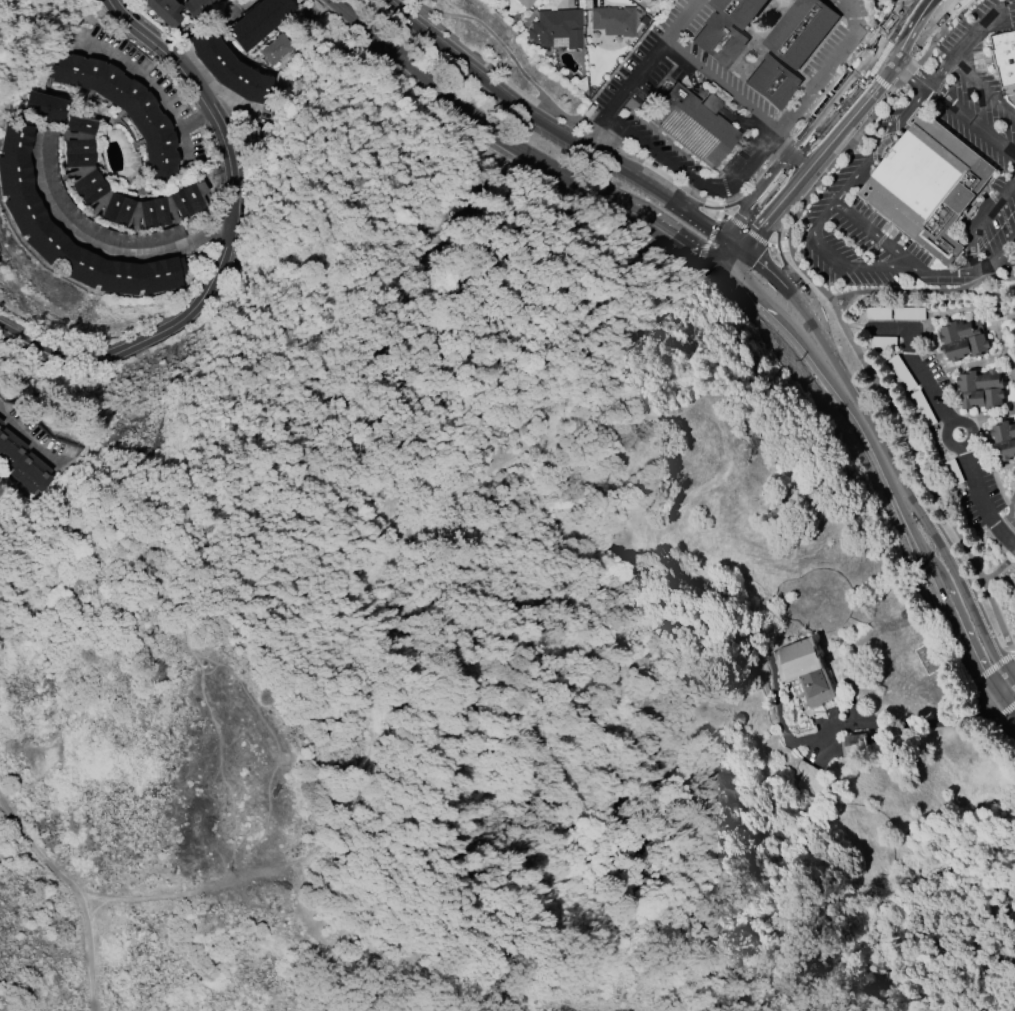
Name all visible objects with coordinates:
building: (636, 0)
building: (524, 4)
road: (316, 5)
building: (195, 6)
road: (845, 7)
road: (456, 8)
road: (940, 8)
building: (740, 10)
building: (169, 14)
road: (889, 19)
building: (612, 21)
building: (257, 22)
building: (556, 29)
building: (800, 32)
road: (862, 33)
road: (975, 36)
road: (908, 37)
road: (172, 41)
building: (720, 43)
building: (275, 49)
building: (1005, 59)
building: (229, 69)
road: (639, 72)
road: (938, 74)
road: (149, 82)
road: (819, 83)
building: (771, 84)
road: (493, 86)
road: (721, 86)
road: (982, 86)
road: (713, 102)
road: (951, 105)
building: (44, 106)
road: (453, 107)
road: (558, 108)
building: (126, 109)
road: (820, 117)
building: (692, 127)
road: (842, 129)
road: (788, 139)
road: (185, 146)
building: (82, 172)
road: (692, 178)
building: (927, 185)
road: (742, 199)
road: (699, 205)
road: (719, 206)
building: (24, 211)
road: (722, 218)
road: (742, 228)
road: (814, 230)
road: (662, 234)
road: (758, 234)
road: (752, 235)
road: (872, 237)
road: (973, 244)
traffic signals: (733, 245)
road: (225, 247)
road: (94, 248)
road: (716, 248)
traffic signals: (743, 253)
road: (746, 255)
road: (779, 260)
traffic signals: (718, 265)
traffic signals: (729, 273)
road: (922, 291)
building: (909, 314)
road: (789, 324)
building: (964, 340)
road: (989, 359)
road: (924, 381)
building: (980, 389)
road: (989, 416)
building: (0, 422)
road: (868, 428)
road: (973, 431)
road: (30, 437)
building: (1004, 440)
road: (949, 442)
road: (910, 444)
road: (543, 446)
road: (865, 457)
building: (22, 464)
road: (985, 505)
road: (1012, 511)
road: (1001, 546)
road: (1000, 571)
road: (957, 575)
road: (941, 585)
road: (1013, 651)
road: (1013, 654)
building: (930, 658)
road: (991, 668)
building: (804, 670)
road: (1012, 681)
road: (1012, 686)
road: (1005, 704)
road: (1005, 714)
road: (992, 716)
road: (914, 725)
building: (857, 746)
road: (187, 895)
road: (84, 954)

